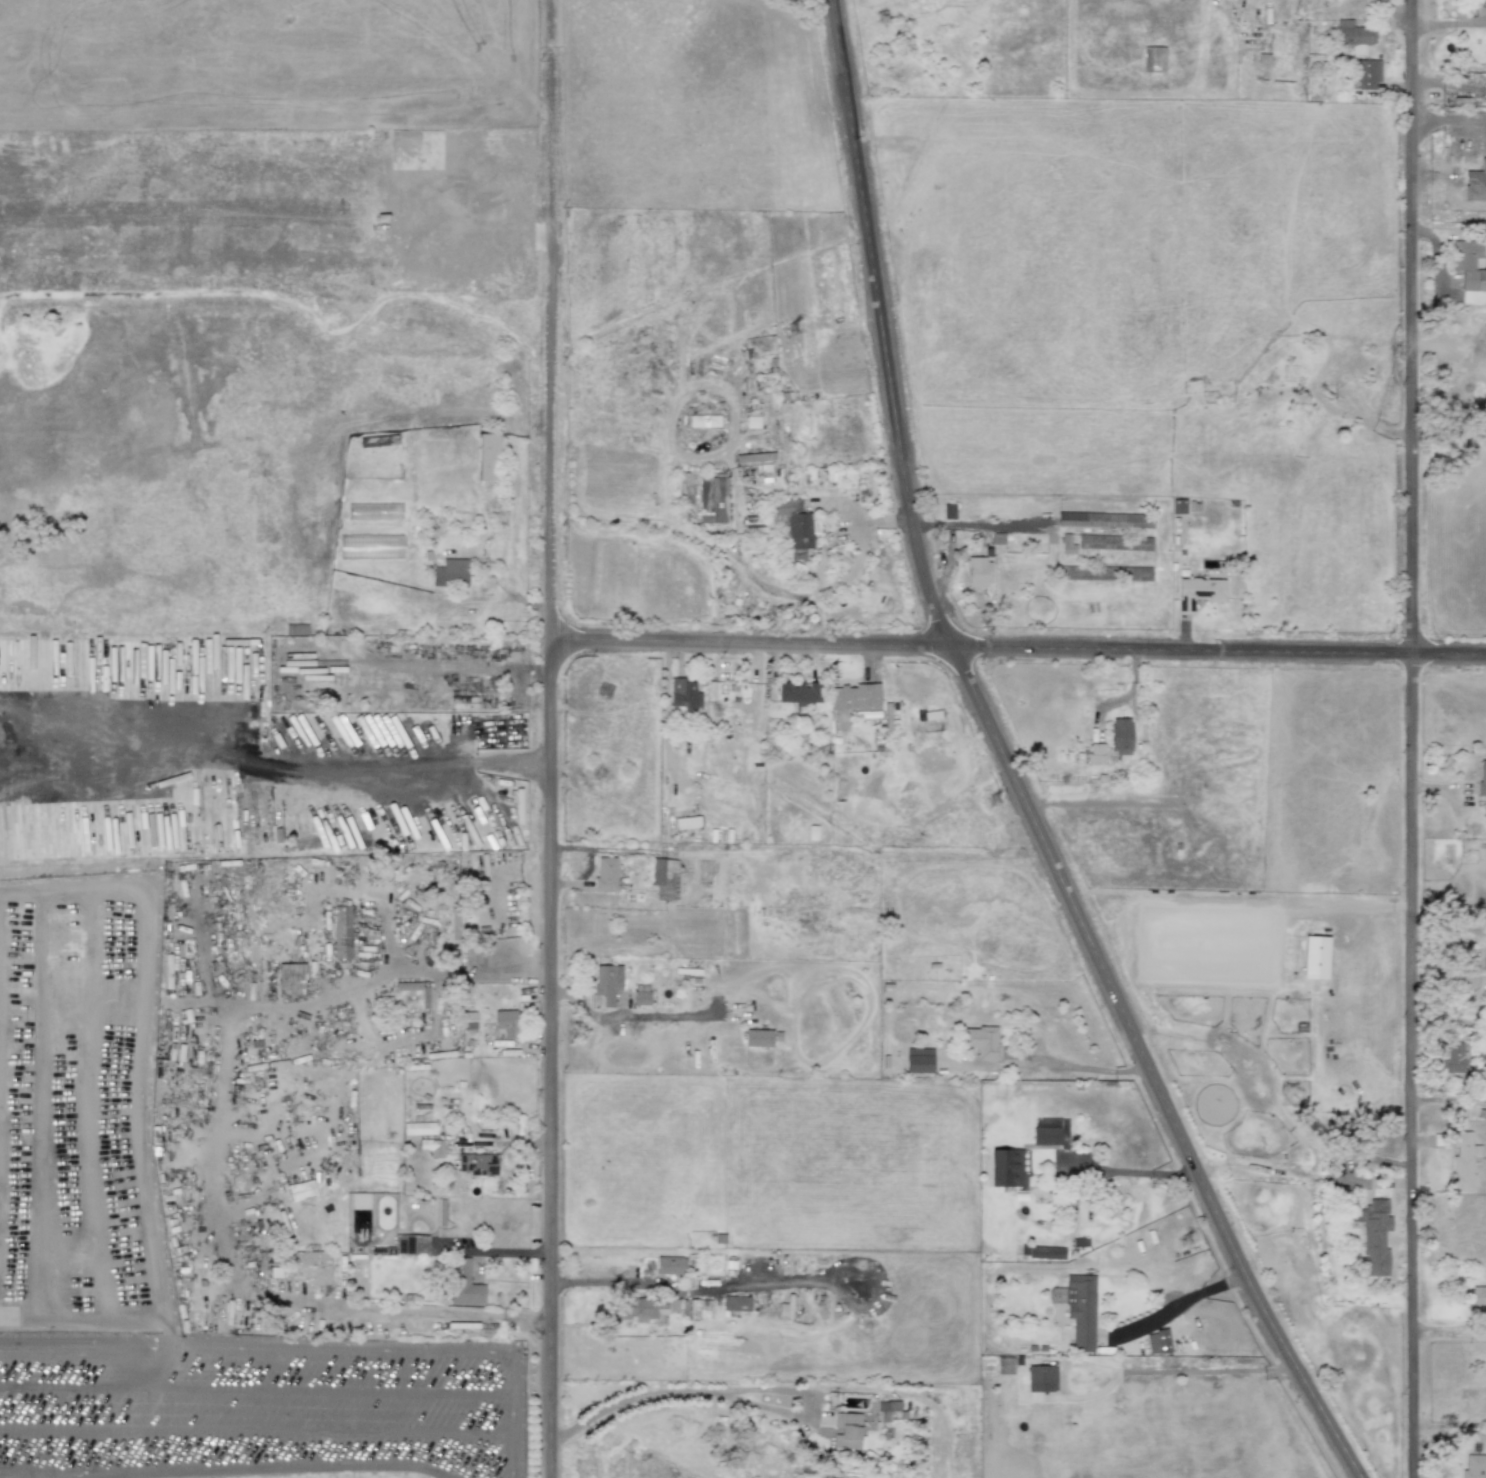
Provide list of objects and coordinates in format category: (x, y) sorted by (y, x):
road: (1447, 25)
building: (1354, 36)
building: (1153, 59)
building: (1368, 74)
road: (1447, 128)
building: (1475, 183)
building: (1469, 264)
power tower: (801, 350)
building: (704, 421)
road: (1448, 424)
building: (380, 441)
building: (486, 457)
road: (668, 484)
building: (712, 500)
building: (1105, 520)
building: (793, 522)
building: (1114, 542)
building: (1066, 544)
building: (977, 572)
building: (449, 573)
building: (1104, 573)
road: (843, 578)
road: (812, 591)
building: (1198, 591)
building: (295, 629)
road: (751, 648)
road: (1219, 652)
building: (798, 692)
building: (685, 695)
building: (855, 697)
building: (1120, 736)
road: (1412, 738)
building: (1095, 754)
road: (273, 767)
road: (1008, 767)
building: (1482, 778)
power tower: (997, 802)
building: (188, 816)
building: (687, 822)
road: (548, 851)
building: (605, 875)
building: (664, 878)
building: (456, 924)
building: (341, 932)
building: (289, 975)
building: (607, 983)
building: (641, 998)
building: (467, 1020)
building: (504, 1024)
road: (144, 1037)
building: (757, 1038)
building: (982, 1042)
building: (1453, 1056)
road: (1060, 1068)
building: (419, 1128)
building: (1049, 1131)
building: (431, 1147)
building: (1461, 1161)
building: (477, 1164)
building: (1005, 1168)
road: (1129, 1172)
building: (1374, 1236)
power tower: (1186, 1243)
building: (409, 1244)
building: (1046, 1252)
building: (312, 1265)
building: (670, 1265)
building: (464, 1284)
road: (683, 1293)
building: (1476, 1296)
building: (735, 1303)
road: (1179, 1303)
building: (689, 1307)
building: (1078, 1307)
building: (638, 1308)
road: (414, 1316)
road: (82, 1319)
road: (167, 1332)
road: (1449, 1334)
building: (1157, 1342)
road: (84, 1344)
road: (340, 1348)
road: (1209, 1369)
building: (1040, 1378)
road: (256, 1389)
road: (726, 1393)
building: (887, 1407)
road: (513, 1415)
building: (846, 1430)
road: (256, 1431)
building: (1474, 1466)
road: (245, 1470)
road: (23, 1475)

